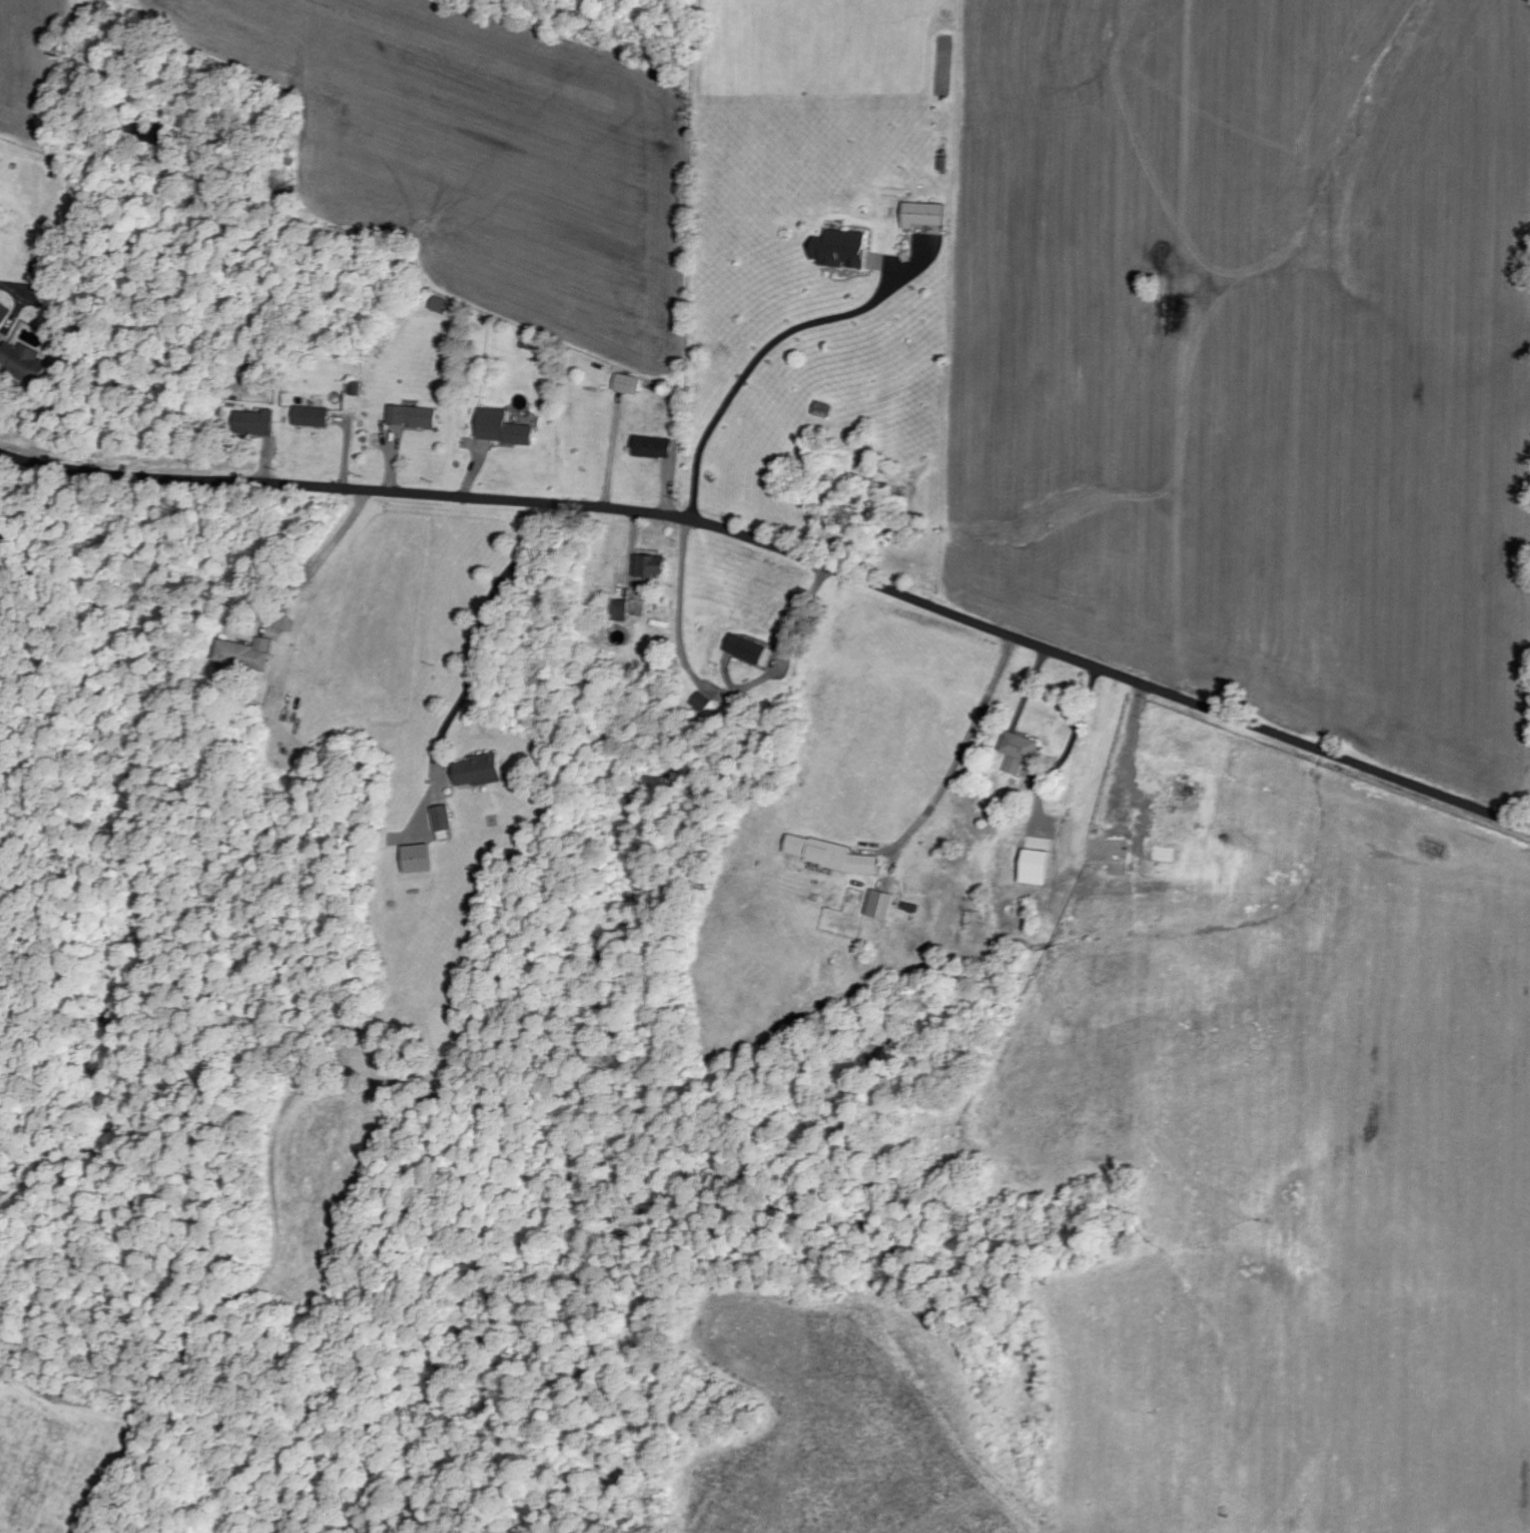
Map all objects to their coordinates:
building: (922, 216)
building: (840, 251)
building: (3, 314)
building: (21, 362)
building: (627, 385)
building: (309, 418)
building: (410, 418)
building: (254, 424)
building: (501, 430)
building: (651, 449)
road: (784, 552)
building: (649, 568)
building: (618, 612)
building: (745, 651)
building: (244, 655)
building: (701, 703)
building: (1017, 752)
building: (478, 771)
building: (441, 819)
building: (828, 855)
building: (415, 859)
building: (1033, 868)
building: (879, 905)

